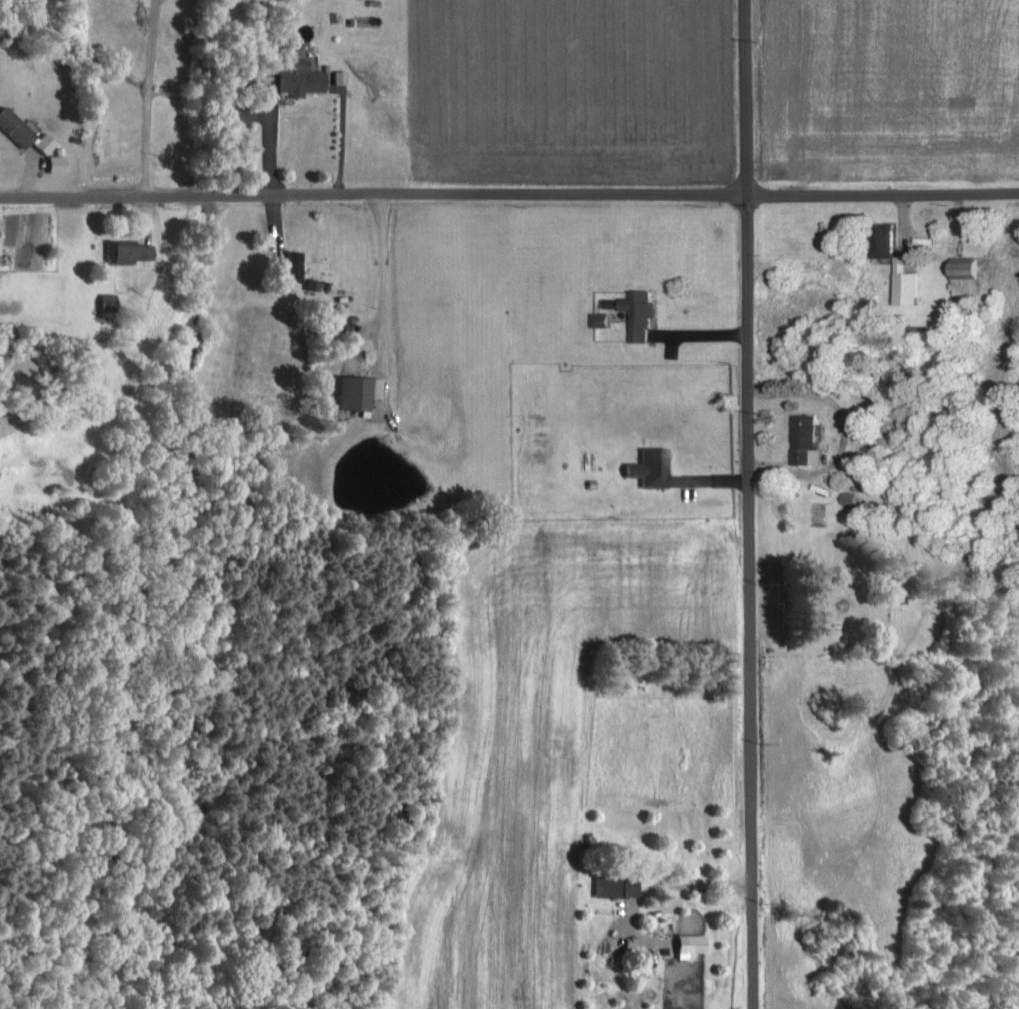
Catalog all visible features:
building: (301, 72)
road: (146, 96)
building: (236, 113)
building: (14, 127)
building: (41, 142)
building: (53, 162)
road: (509, 192)
building: (883, 240)
building: (126, 251)
building: (292, 265)
building: (966, 275)
building: (904, 282)
building: (106, 304)
building: (639, 313)
building: (600, 319)
building: (358, 392)
building: (806, 439)
building: (649, 467)
building: (848, 496)
road: (732, 504)
building: (613, 885)
building: (688, 944)

